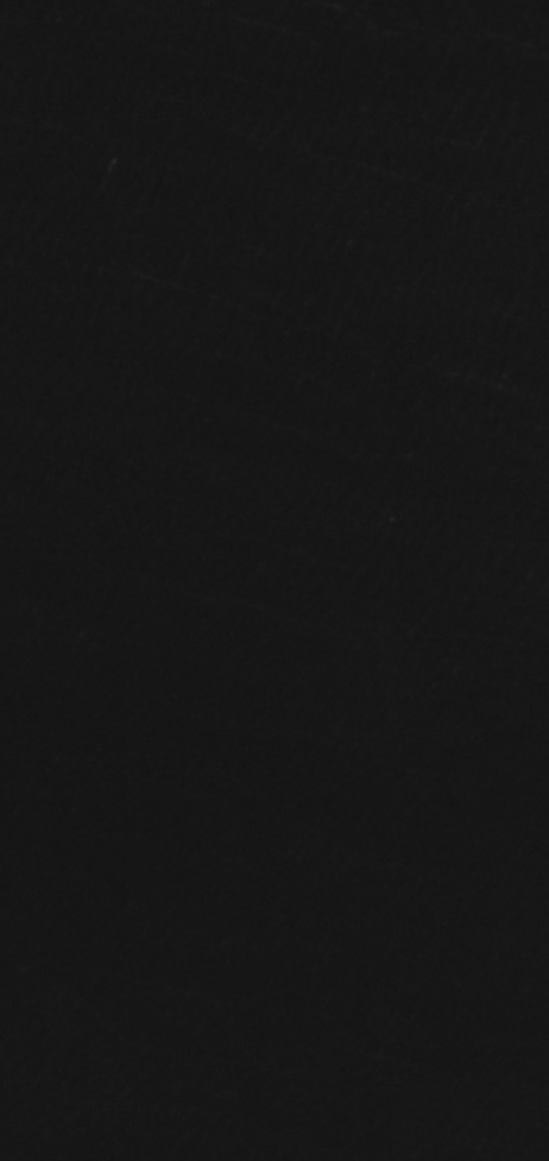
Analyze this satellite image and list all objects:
river: (334, 36)

